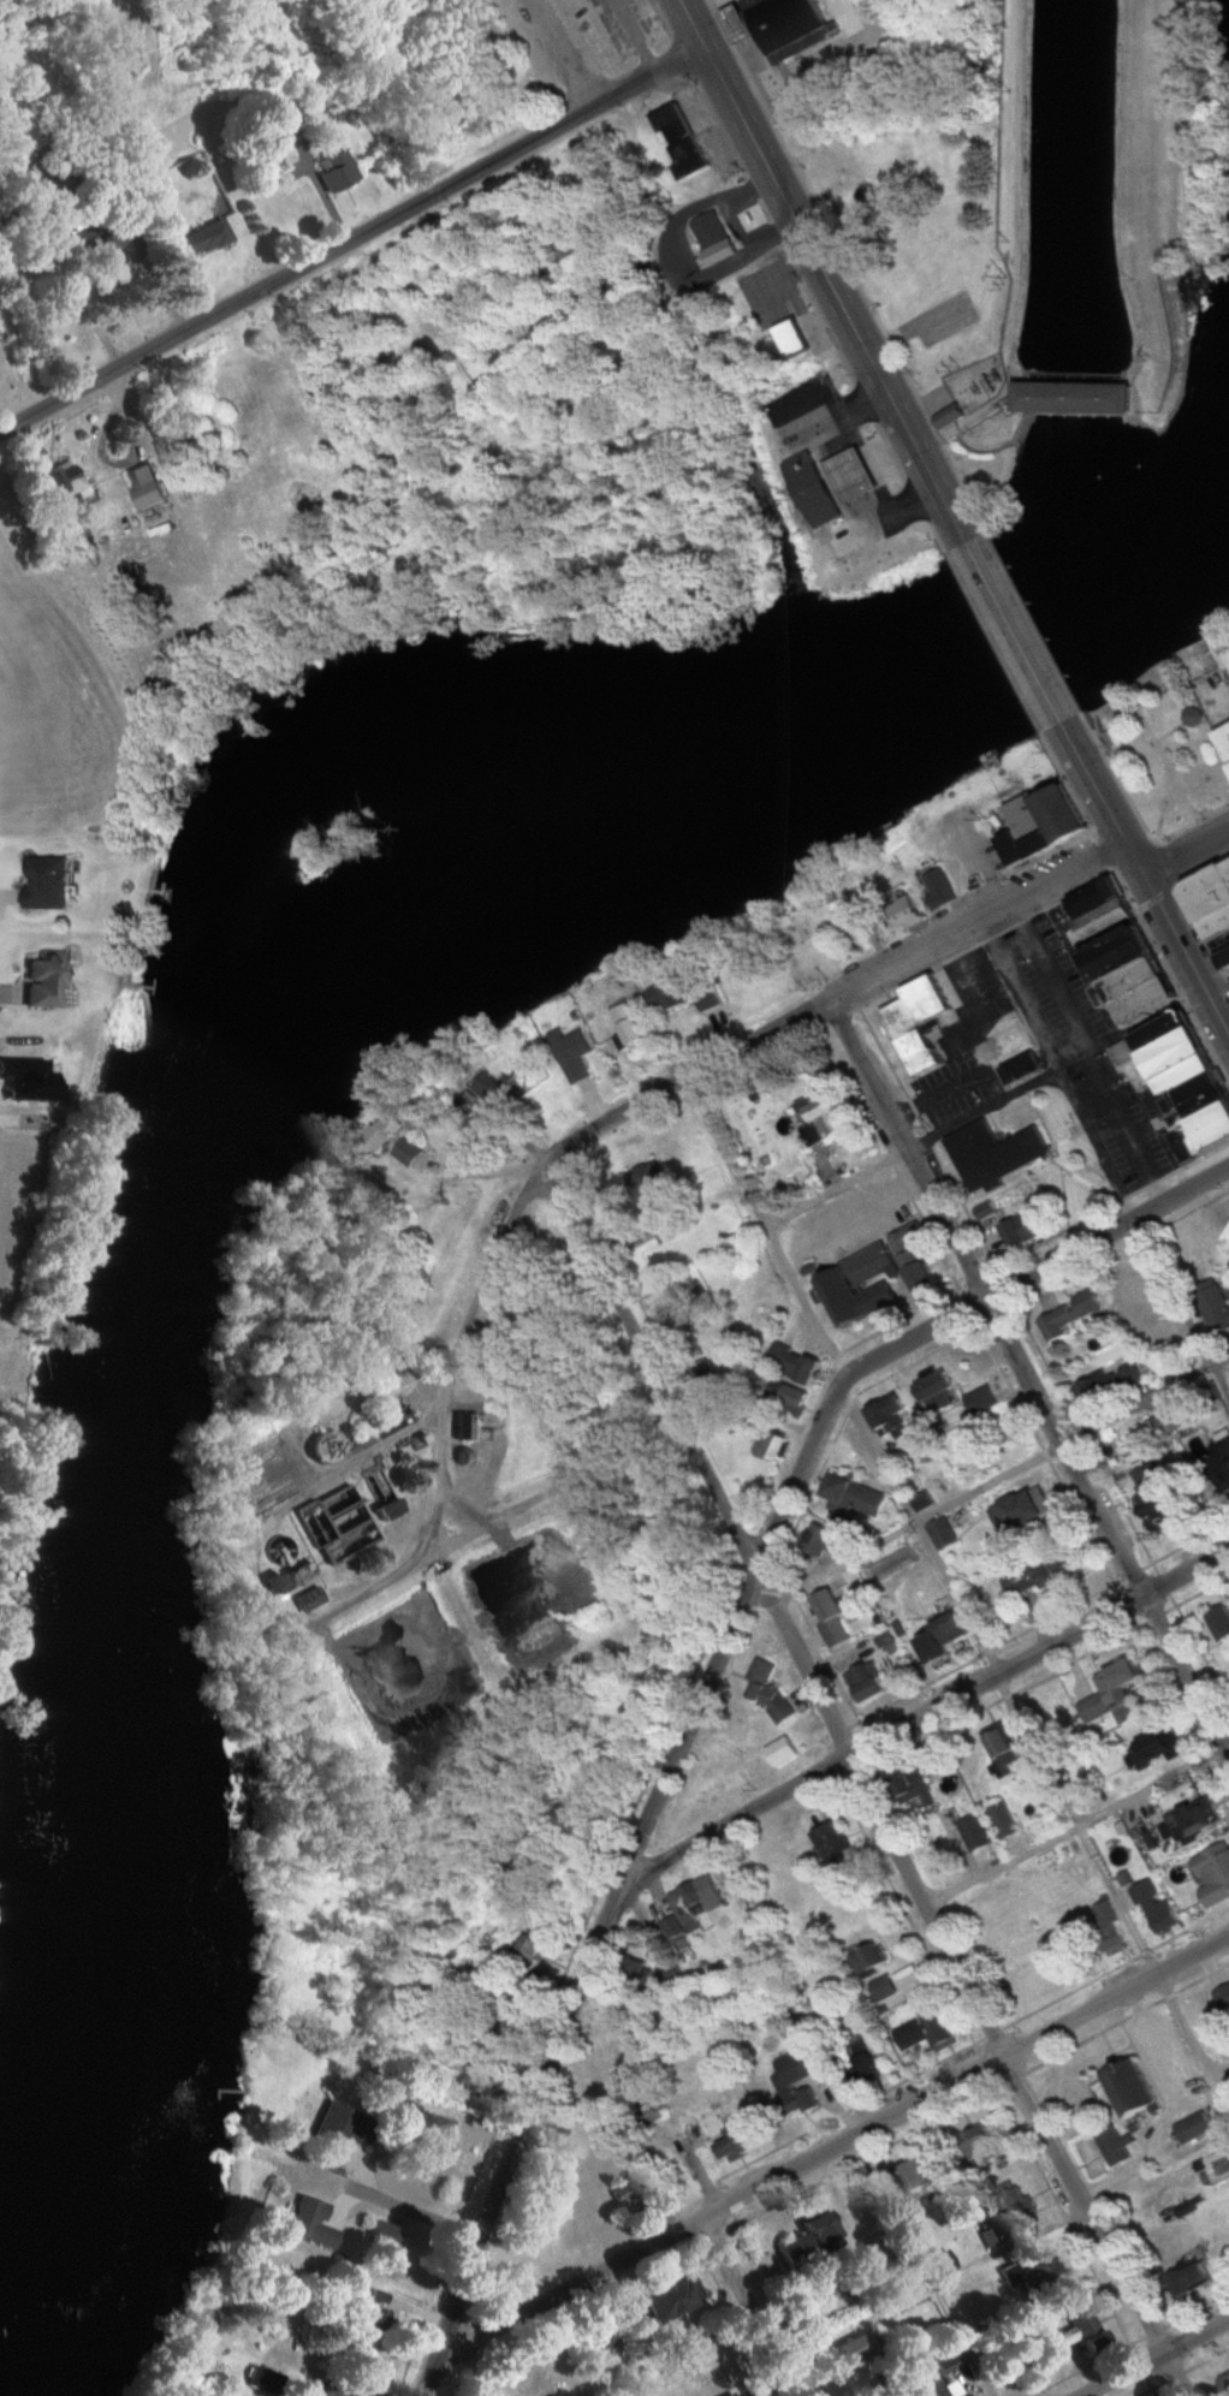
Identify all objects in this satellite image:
building: (780, 25)
road: (634, 40)
road: (560, 57)
building: (291, 114)
building: (681, 142)
building: (339, 172)
road: (319, 185)
building: (710, 232)
building: (102, 240)
building: (203, 240)
road: (352, 245)
road: (817, 263)
building: (795, 334)
crop: (8, 362)
building: (1071, 390)
building: (856, 476)
building: (66, 483)
building: (818, 489)
building: (150, 495)
road: (1011, 629)
building: (1193, 719)
building: (1225, 737)
road: (1096, 785)
building: (1047, 826)
road: (1183, 842)
building: (47, 882)
building: (942, 890)
road: (5, 893)
building: (1216, 909)
road: (1176, 939)
building: (1130, 955)
building: (48, 981)
road: (1216, 983)
road: (5, 993)
building: (671, 995)
road: (826, 1004)
building: (916, 1017)
building: (633, 1027)
road: (1080, 1053)
building: (578, 1059)
building: (1187, 1084)
road: (995, 1102)
building: (824, 1118)
river: (196, 1122)
building: (991, 1149)
building: (408, 1153)
road: (836, 1188)
road: (764, 1225)
building: (666, 1226)
building: (1022, 1230)
building: (1227, 1238)
building: (918, 1259)
building: (862, 1286)
road: (477, 1289)
road: (1172, 1289)
building: (1218, 1307)
building: (1144, 1308)
building: (1071, 1315)
road: (942, 1320)
building: (796, 1363)
road: (1026, 1363)
road: (1221, 1378)
building: (1110, 1384)
building: (938, 1391)
road: (1147, 1393)
building: (797, 1397)
building: (980, 1402)
building: (890, 1416)
building: (1172, 1422)
building: (467, 1426)
building: (773, 1445)
building: (328, 1446)
building: (1222, 1458)
road: (988, 1476)
building: (1154, 1491)
building: (856, 1494)
building: (922, 1503)
building: (393, 1510)
building: (1027, 1510)
road: (918, 1532)
building: (942, 1534)
building: (826, 1539)
building: (1041, 1576)
building: (309, 1599)
building: (831, 1606)
building: (1222, 1625)
building: (948, 1639)
building: (759, 1679)
building: (868, 1683)
building: (1115, 1693)
road: (922, 1713)
building: (779, 1750)
building: (1003, 1753)
building: (921, 1785)
road: (866, 1789)
building: (1004, 1821)
road: (1077, 1823)
road: (1070, 1825)
building: (1189, 1826)
building: (978, 1835)
building: (833, 1842)
building: (1213, 1887)
building: (1157, 1907)
building: (683, 1908)
building: (1186, 1909)
building: (671, 1928)
building: (521, 1958)
building: (869, 1961)
building: (671, 1976)
road: (581, 1980)
building: (884, 1988)
building: (1223, 1999)
road: (417, 2011)
building: (507, 2027)
building: (940, 2034)
building: (869, 2070)
building: (479, 2082)
building: (795, 2085)
building: (1134, 2091)
road: (1168, 2104)
building: (346, 2127)
building: (1193, 2129)
building: (986, 2139)
road: (833, 2145)
building: (740, 2146)
building: (1114, 2147)
building: (921, 2175)
building: (625, 2194)
building: (1187, 2208)
road: (417, 2214)
building: (313, 2224)
building: (387, 2235)
building: (813, 2241)
building: (944, 2264)
building: (1045, 2276)
building: (1195, 2277)
road: (934, 2285)
building: (673, 2296)
road: (752, 2305)
building: (376, 2314)
building: (1077, 2332)
road: (1153, 2355)
building: (1225, 2383)
building: (332, 2391)
building: (563, 2392)
building: (759, 2395)

